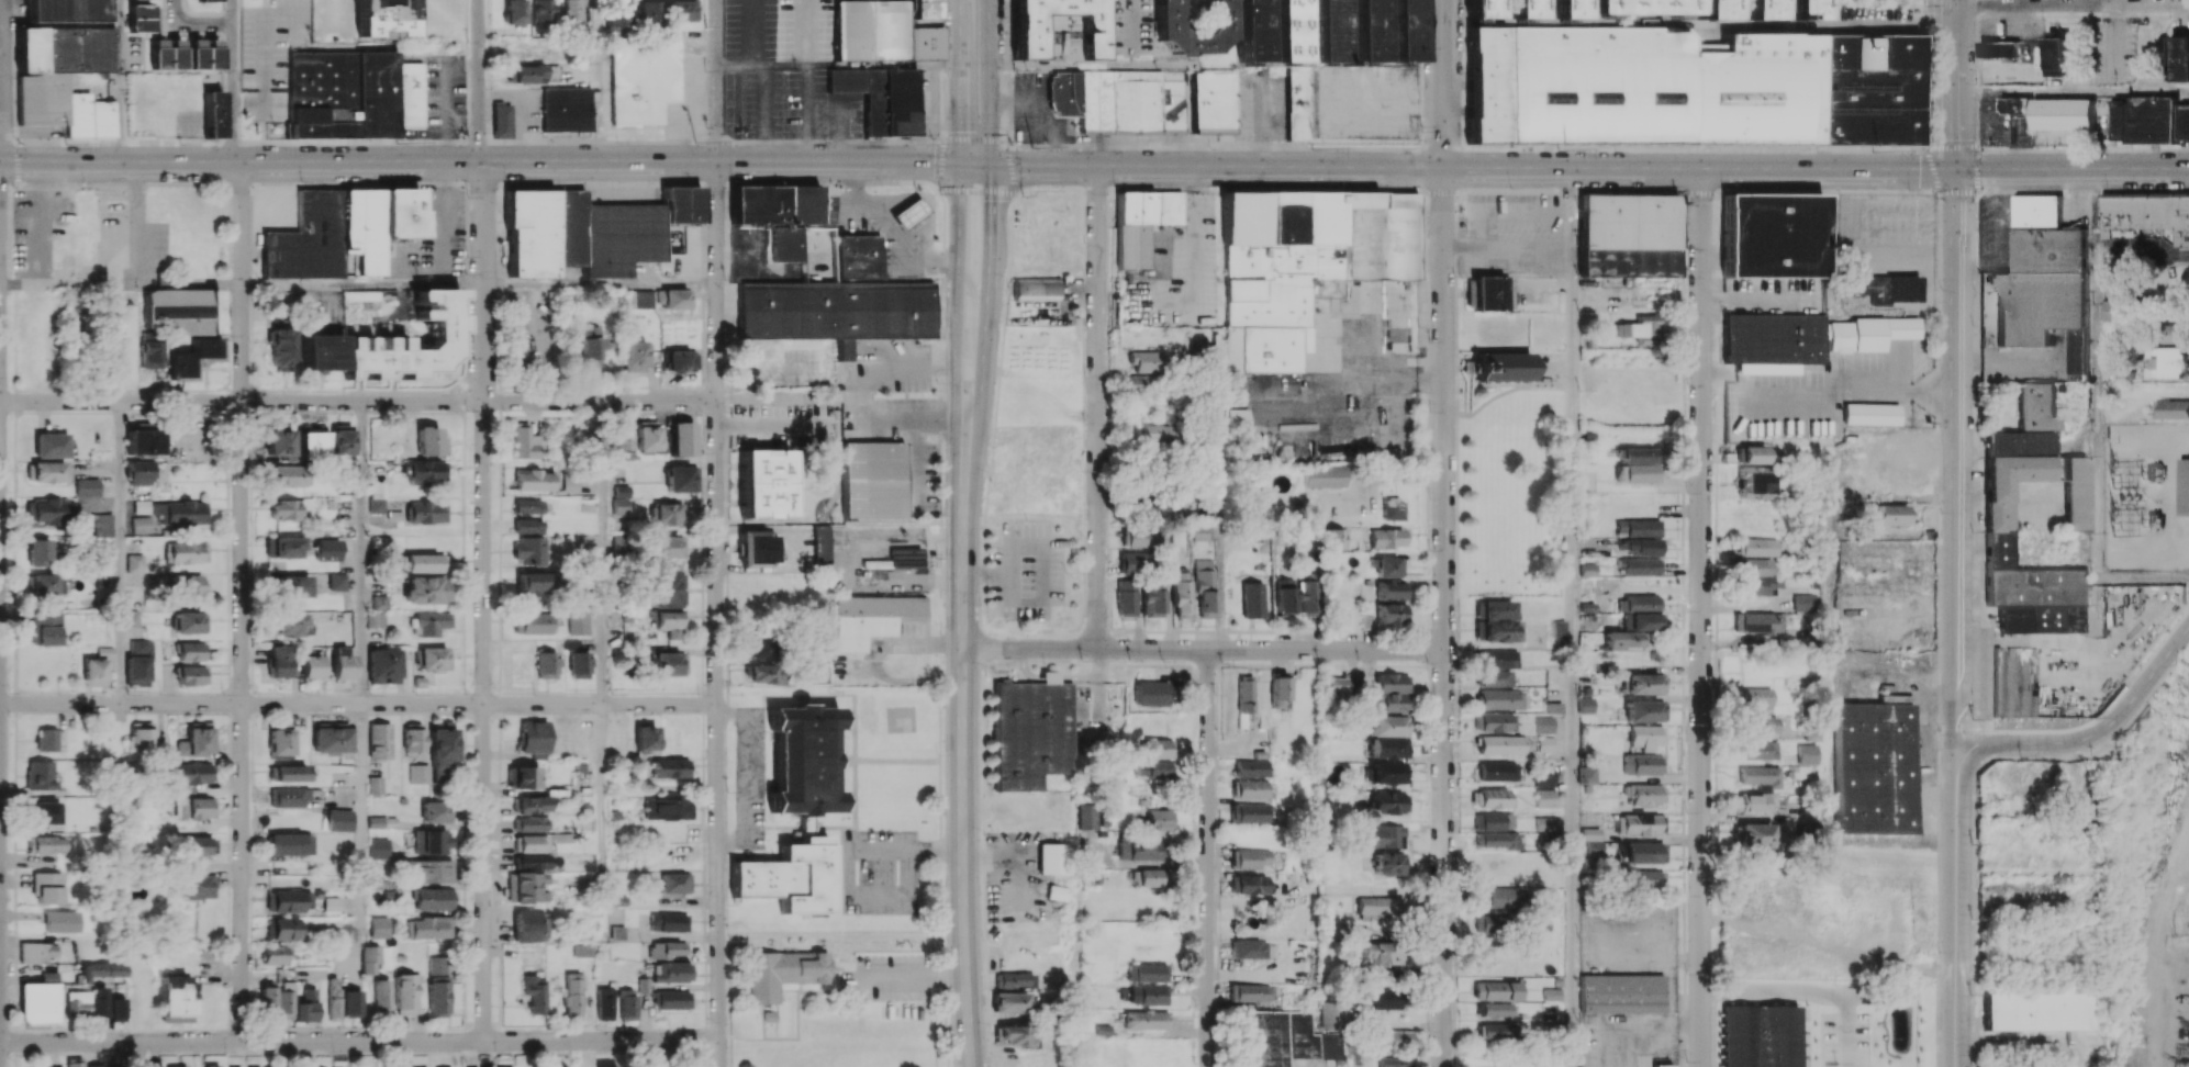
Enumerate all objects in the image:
building: (206, 0)
road: (2114, 2)
road: (2070, 4)
building: (1638, 7)
building: (920, 9)
building: (1479, 9)
building: (1522, 9)
building: (1565, 9)
building: (1711, 9)
building: (1757, 9)
building: (1800, 9)
building: (65, 10)
building: (680, 10)
road: (177, 11)
building: (513, 11)
building: (540, 11)
building: (647, 13)
building: (571, 15)
building: (615, 16)
building: (142, 18)
building: (382, 19)
road: (205, 24)
road: (1823, 26)
building: (1166, 30)
building: (1251, 31)
building: (1289, 31)
building: (1329, 31)
building: (1367, 31)
building: (1404, 31)
building: (879, 32)
building: (1059, 35)
building: (1026, 36)
building: (1998, 48)
building: (166, 54)
building: (203, 54)
building: (2058, 56)
building: (2180, 58)
building: (64, 78)
building: (643, 79)
road: (119, 81)
road: (233, 81)
road: (479, 81)
road: (716, 81)
road: (1443, 85)
road: (1953, 86)
building: (1690, 88)
building: (340, 93)
building: (410, 93)
building: (880, 98)
building: (1118, 100)
building: (1213, 103)
building: (2015, 105)
building: (566, 108)
building: (2064, 113)
building: (213, 114)
building: (2149, 119)
building: (501, 120)
power tower: (398, 144)
power tower: (697, 144)
power tower: (67, 146)
power tower: (1034, 148)
power tower: (1314, 149)
power tower: (1561, 151)
power tower: (1874, 151)
traffic signals: (957, 165)
road: (978, 165)
traffic signals: (990, 165)
road: (2073, 170)
traffic signals: (1956, 171)
building: (680, 204)
building: (773, 204)
road: (1507, 210)
building: (2148, 213)
building: (908, 214)
building: (1141, 222)
road: (137, 224)
road: (889, 226)
building: (339, 231)
building: (578, 234)
building: (1628, 235)
building: (1773, 235)
road: (958, 237)
road: (989, 237)
building: (788, 244)
road: (1508, 246)
road: (2142, 255)
building: (858, 257)
building: (1302, 263)
building: (2044, 282)
road: (68, 284)
road: (190, 284)
road: (364, 284)
road: (601, 284)
building: (1036, 289)
building: (1889, 289)
building: (1488, 292)
building: (350, 295)
building: (641, 299)
building: (677, 299)
building: (181, 310)
building: (835, 310)
building: (2113, 310)
building: (1639, 329)
building: (1867, 333)
building: (2176, 333)
building: (1773, 338)
building: (390, 344)
building: (591, 346)
building: (280, 347)
building: (149, 353)
building: (193, 356)
building: (635, 356)
building: (680, 360)
building: (1141, 360)
building: (2169, 363)
building: (1501, 366)
road: (2096, 373)
building: (1135, 382)
road: (1359, 384)
road: (1852, 393)
road: (358, 402)
road: (1097, 407)
road: (862, 408)
building: (2171, 409)
building: (1869, 413)
building: (1235, 418)
building: (646, 435)
building: (619, 436)
building: (1155, 436)
building: (681, 438)
building: (339, 439)
building: (143, 441)
building: (429, 441)
building: (278, 442)
building: (310, 442)
building: (525, 442)
building: (51, 445)
building: (1747, 454)
road: (1958, 458)
building: (1637, 463)
building: (139, 471)
building: (423, 471)
building: (51, 472)
building: (288, 475)
building: (1321, 476)
building: (682, 479)
building: (533, 480)
building: (873, 480)
building: (764, 482)
building: (1753, 482)
building: (569, 484)
building: (2184, 485)
building: (86, 486)
road: (1972, 492)
road: (2033, 492)
road: (1998, 493)
building: (376, 496)
power substation: (2146, 496)
building: (619, 499)
building: (527, 505)
building: (284, 508)
building: (1151, 508)
building: (1389, 508)
building: (49, 509)
building: (179, 512)
building: (426, 512)
building: (1998, 512)
building: (668, 514)
building: (1886, 515)
building: (102, 525)
building: (141, 525)
building: (527, 526)
building: (1637, 527)
building: (1199, 531)
building: (1138, 537)
building: (1330, 538)
building: (1384, 538)
building: (381, 542)
road: (1220, 544)
building: (283, 546)
building: (1639, 546)
building: (666, 547)
building: (820, 547)
building: (1756, 547)
building: (758, 548)
building: (327, 550)
building: (527, 550)
building: (38, 551)
building: (187, 551)
road: (119, 552)
road: (360, 552)
road: (603, 552)
building: (905, 557)
building: (1132, 561)
building: (135, 562)
building: (424, 562)
building: (1387, 566)
building: (1641, 566)
parking lot: (1025, 571)
building: (1757, 576)
road: (2142, 577)
building: (337, 581)
building: (535, 582)
building: (47, 584)
building: (291, 585)
building: (187, 586)
building: (1204, 587)
building: (667, 588)
building: (424, 589)
building: (1389, 589)
building: (1180, 594)
building: (1283, 596)
building: (1126, 597)
building: (1306, 597)
building: (1153, 599)
building: (1251, 599)
road: (484, 600)
road: (243, 602)
building: (379, 602)
building: (1805, 603)
building: (1389, 614)
road: (717, 615)
road: (1443, 617)
building: (131, 618)
building: (869, 618)
road: (1573, 618)
road: (1701, 618)
building: (376, 619)
building: (189, 621)
building: (1496, 621)
building: (1635, 621)
building: (429, 622)
building: (533, 622)
building: (578, 622)
building: (669, 622)
building: (1760, 622)
building: (289, 624)
building: (45, 629)
building: (1559, 634)
road: (1202, 649)
building: (756, 650)
building: (191, 651)
building: (433, 658)
building: (1497, 659)
building: (137, 661)
building: (278, 661)
building: (342, 663)
building: (579, 663)
building: (668, 663)
building: (546, 664)
building: (383, 665)
building: (311, 666)
building: (93, 672)
building: (764, 674)
building: (191, 675)
building: (1495, 677)
building: (2013, 681)
road: (2146, 682)
building: (1641, 683)
building: (1336, 689)
building: (1278, 692)
building: (1151, 693)
building: (1391, 693)
building: (1243, 694)
building: (1752, 696)
building: (1895, 698)
building: (1499, 699)
road: (358, 704)
building: (1585, 705)
building: (1644, 710)
building: (1496, 721)
building: (1544, 723)
building: (1757, 723)
building: (1031, 731)
building: (141, 735)
building: (1644, 735)
building: (1385, 737)
building: (330, 738)
building: (412, 738)
building: (534, 738)
building: (645, 738)
building: (46, 739)
building: (379, 740)
building: (196, 741)
road: (2030, 742)
building: (1545, 743)
building: (440, 745)
building: (1159, 748)
building: (1757, 750)
building: (1807, 753)
building: (803, 762)
building: (1645, 763)
building: (670, 767)
building: (1252, 767)
building: (1874, 768)
building: (1153, 770)
road: (960, 771)
building: (1496, 771)
building: (289, 773)
building: (1387, 773)
building: (38, 774)
building: (193, 774)
building: (417, 774)
road: (748, 774)
building: (1586, 774)
building: (1544, 776)
building: (1760, 776)
building: (524, 777)
road: (602, 784)
building: (375, 785)
building: (1252, 788)
building: (1643, 794)
building: (287, 797)
building: (1494, 797)
building: (1544, 797)
building: (1387, 802)
building: (1754, 802)
building: (531, 804)
building: (196, 807)
building: (668, 808)
building: (434, 811)
building: (45, 812)
building: (1250, 812)
building: (1086, 815)
building: (1157, 819)
building: (338, 820)
road: (359, 820)
building: (381, 821)
building: (1494, 821)
building: (529, 823)
building: (1640, 823)
building: (1589, 833)
building: (1754, 834)
building: (1382, 835)
building: (1496, 840)
building: (432, 841)
building: (289, 843)
building: (532, 843)
building: (46, 844)
building: (194, 846)
building: (378, 849)
building: (1141, 851)
building: (1642, 852)
building: (1049, 858)
road: (1208, 858)
building: (1249, 858)
building: (532, 862)
building: (1386, 864)
road: (1006, 866)
road: (850, 869)
building: (429, 871)
building: (789, 876)
building: (1152, 877)
building: (1643, 879)
building: (674, 883)
building: (1249, 884)
building: (198, 886)
building: (46, 887)
building: (525, 887)
building: (434, 898)
building: (1501, 898)
building: (291, 900)
building: (331, 905)
building: (1376, 907)
road: (1957, 907)
building: (60, 921)
building: (668, 922)
building: (1490, 922)
building: (378, 926)
building: (431, 926)
building: (529, 926)
building: (284, 928)
building: (1248, 948)
building: (583, 950)
building: (666, 950)
building: (36, 952)
building: (1382, 953)
building: (275, 954)
building: (369, 959)
building: (102, 969)
building: (670, 971)
building: (783, 971)
building: (1146, 971)
road: (916, 975)
building: (1014, 979)
building: (437, 986)
building: (1496, 990)
road: (1806, 991)
building: (1251, 992)
building: (404, 993)
building: (1550, 993)
building: (1620, 993)
building: (572, 995)
building: (1147, 995)
building: (381, 996)
building: (535, 996)
building: (333, 998)
building: (1385, 998)
building: (175, 999)
building: (267, 1000)
building: (283, 1000)
building: (672, 1000)
building: (38, 1001)
building: (1008, 1002)
building: (77, 1003)
building: (99, 1003)
building: (351, 1003)
building: (604, 1003)
building: (626, 1003)
building: (305, 1007)
building: (119, 1009)
building: (1495, 1010)
building: (2039, 1011)
building: (1332, 1014)
building: (1144, 1019)
road: (1633, 1022)
building: (1496, 1032)
building: (1012, 1035)
building: (1760, 1035)
building: (1285, 1038)
building: (1398, 1038)
road: (360, 1041)
building: (1395, 1062)
building: (74, 1063)
building: (97, 1065)
building: (211, 1065)
building: (503, 1065)
building: (1660, 1065)
building: (56, 1066)
building: (1977, 1066)

